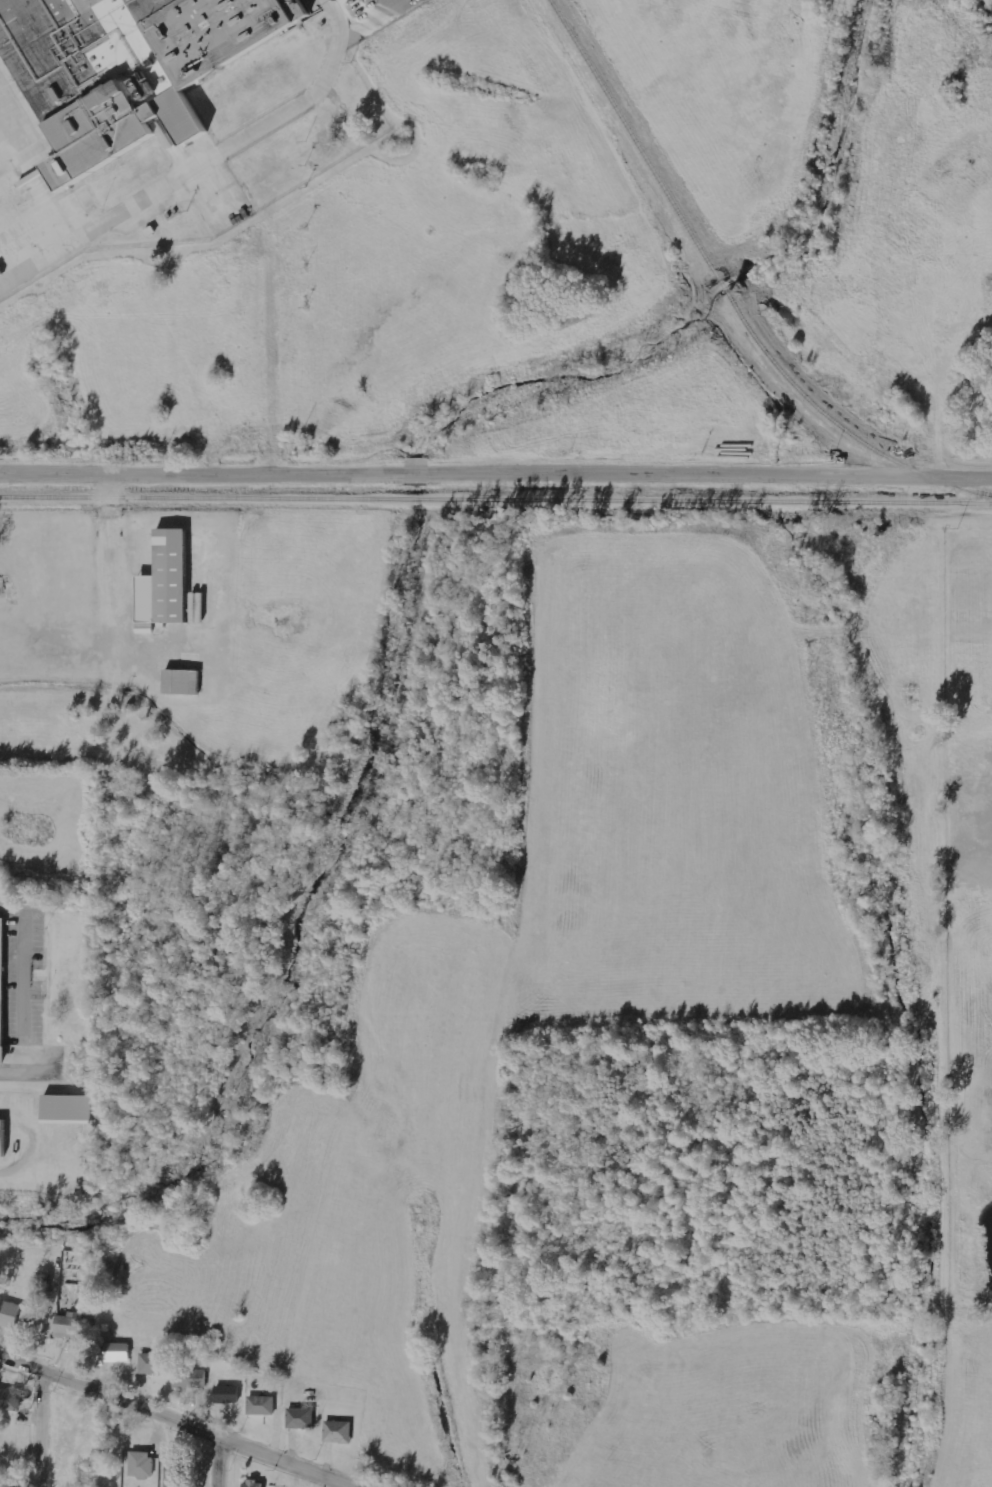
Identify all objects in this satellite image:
building: (125, 67)
railway: (630, 137)
road: (183, 172)
railway: (719, 284)
railway: (836, 424)
road: (496, 466)
railway: (496, 500)
building: (160, 583)
building: (195, 608)
building: (180, 682)
building: (0, 968)
building: (73, 1107)
building: (1, 1140)
building: (12, 1315)
building: (73, 1325)
building: (121, 1352)
building: (154, 1363)
building: (192, 1378)
building: (230, 1394)
building: (11, 1399)
building: (263, 1405)
road: (187, 1417)
building: (303, 1418)
road: (50, 1427)
building: (340, 1432)
road: (228, 1459)
building: (144, 1464)
building: (179, 1474)
building: (257, 1483)

